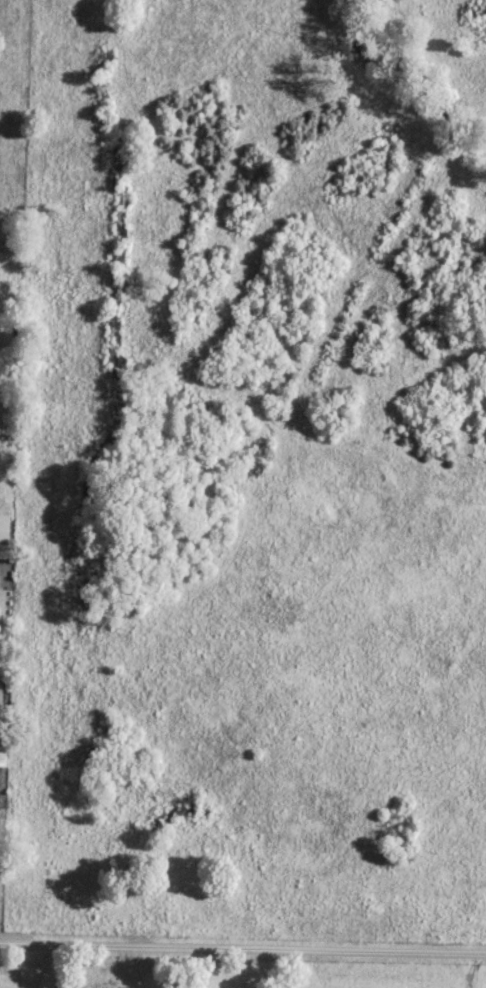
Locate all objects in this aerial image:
road: (243, 949)

